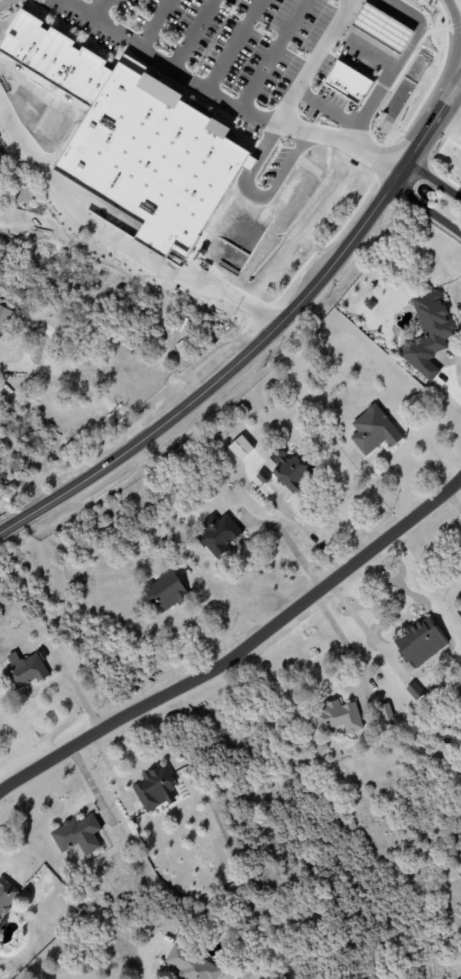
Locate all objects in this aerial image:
road: (102, 7)
road: (152, 22)
building: (380, 27)
gas station: (380, 27)
road: (191, 33)
parking lot: (211, 42)
road: (233, 44)
road: (270, 54)
building: (49, 55)
road: (309, 61)
road: (398, 64)
building: (347, 82)
road: (228, 102)
road: (451, 123)
building: (149, 159)
road: (431, 194)
road: (255, 196)
road: (118, 239)
road: (455, 300)
building: (4, 311)
building: (428, 334)
road: (261, 341)
road: (444, 375)
road: (88, 390)
building: (373, 430)
building: (240, 448)
building: (291, 470)
building: (218, 534)
road: (289, 541)
building: (165, 591)
road: (356, 618)
building: (419, 642)
road: (240, 650)
building: (26, 670)
building: (413, 690)
building: (337, 717)
building: (155, 788)
building: (77, 835)
building: (7, 895)
building: (191, 965)
road: (145, 966)

